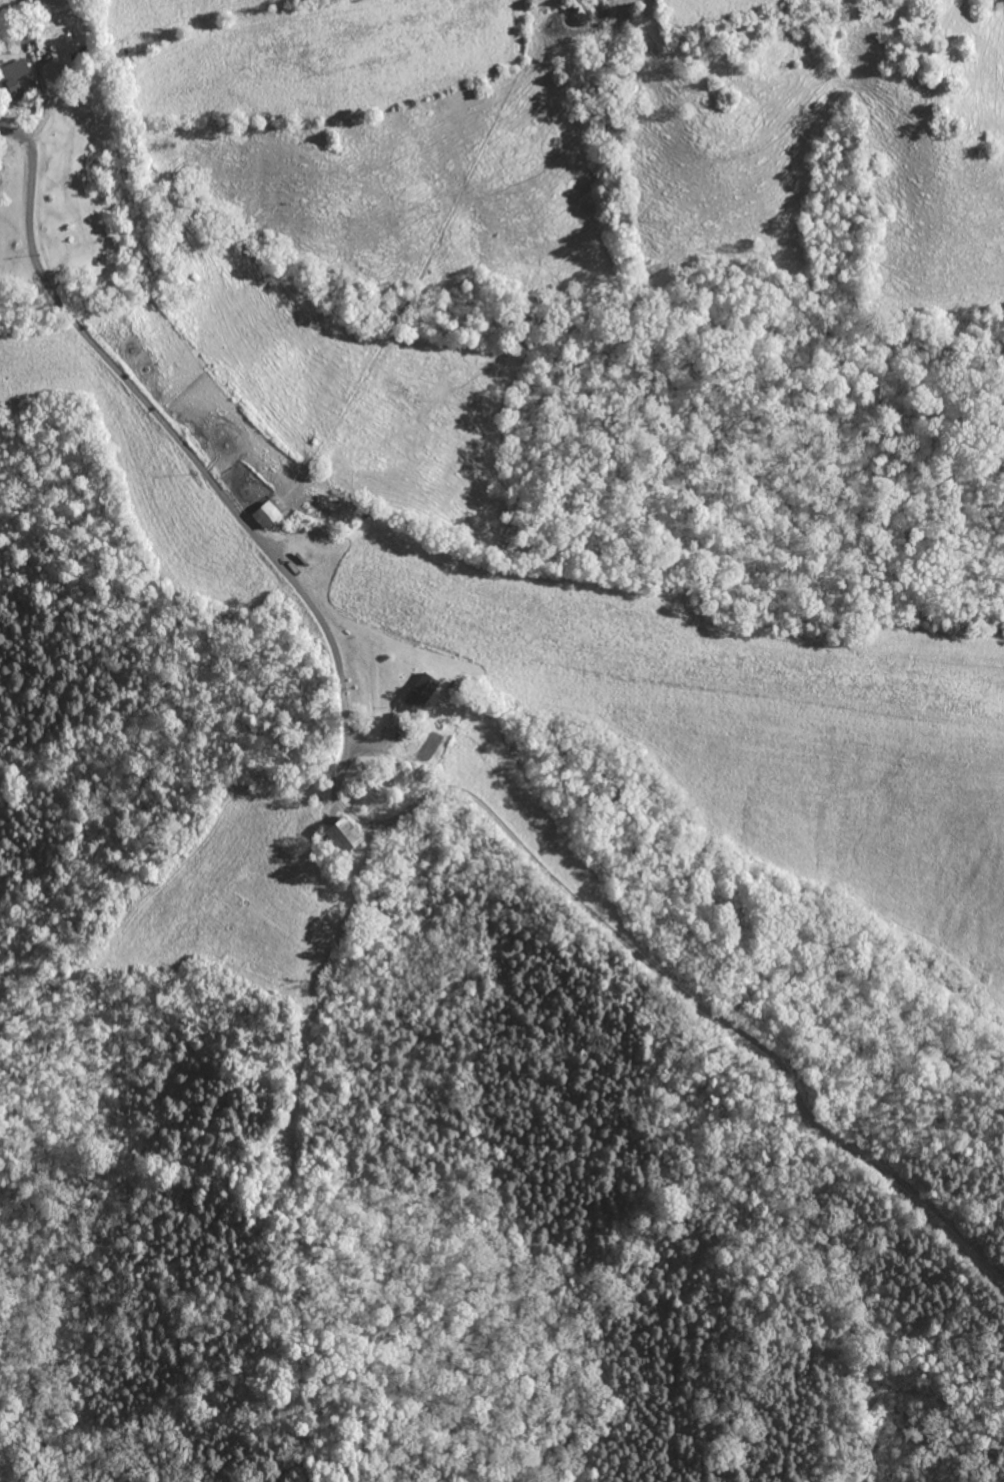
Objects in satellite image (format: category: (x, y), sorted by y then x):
building: (14, 80)
road: (1, 129)
road: (104, 357)
building: (262, 515)
road: (316, 614)
building: (416, 693)
road: (376, 824)
building: (338, 836)
road: (746, 1035)

